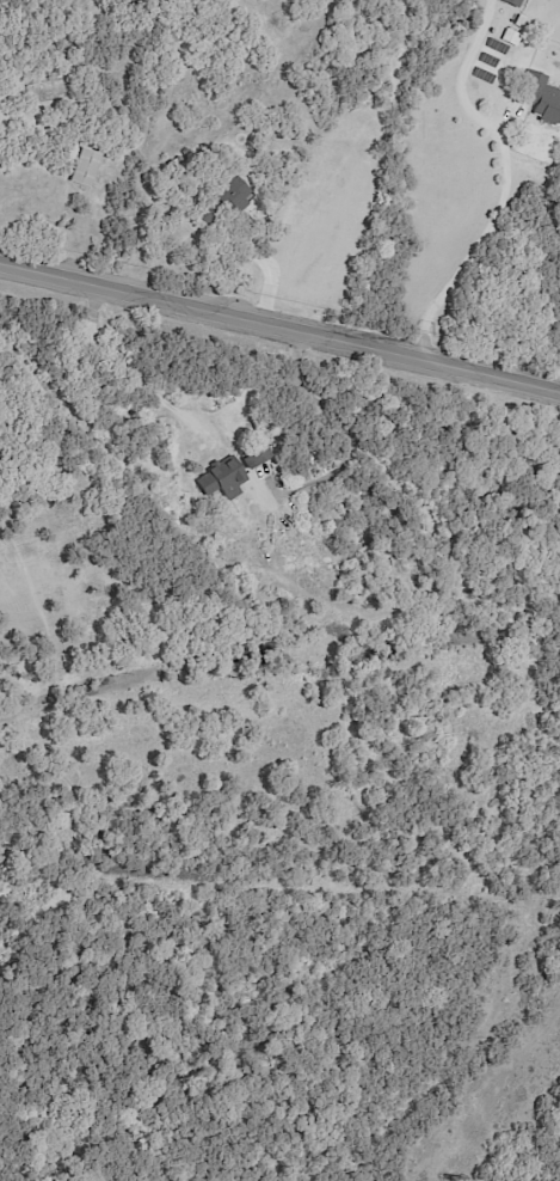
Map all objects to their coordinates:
building: (512, 2)
building: (542, 100)
building: (85, 167)
road: (504, 176)
road: (25, 192)
building: (235, 194)
road: (279, 320)
road: (118, 371)
road: (350, 443)
building: (223, 479)
power tower: (454, 1180)

